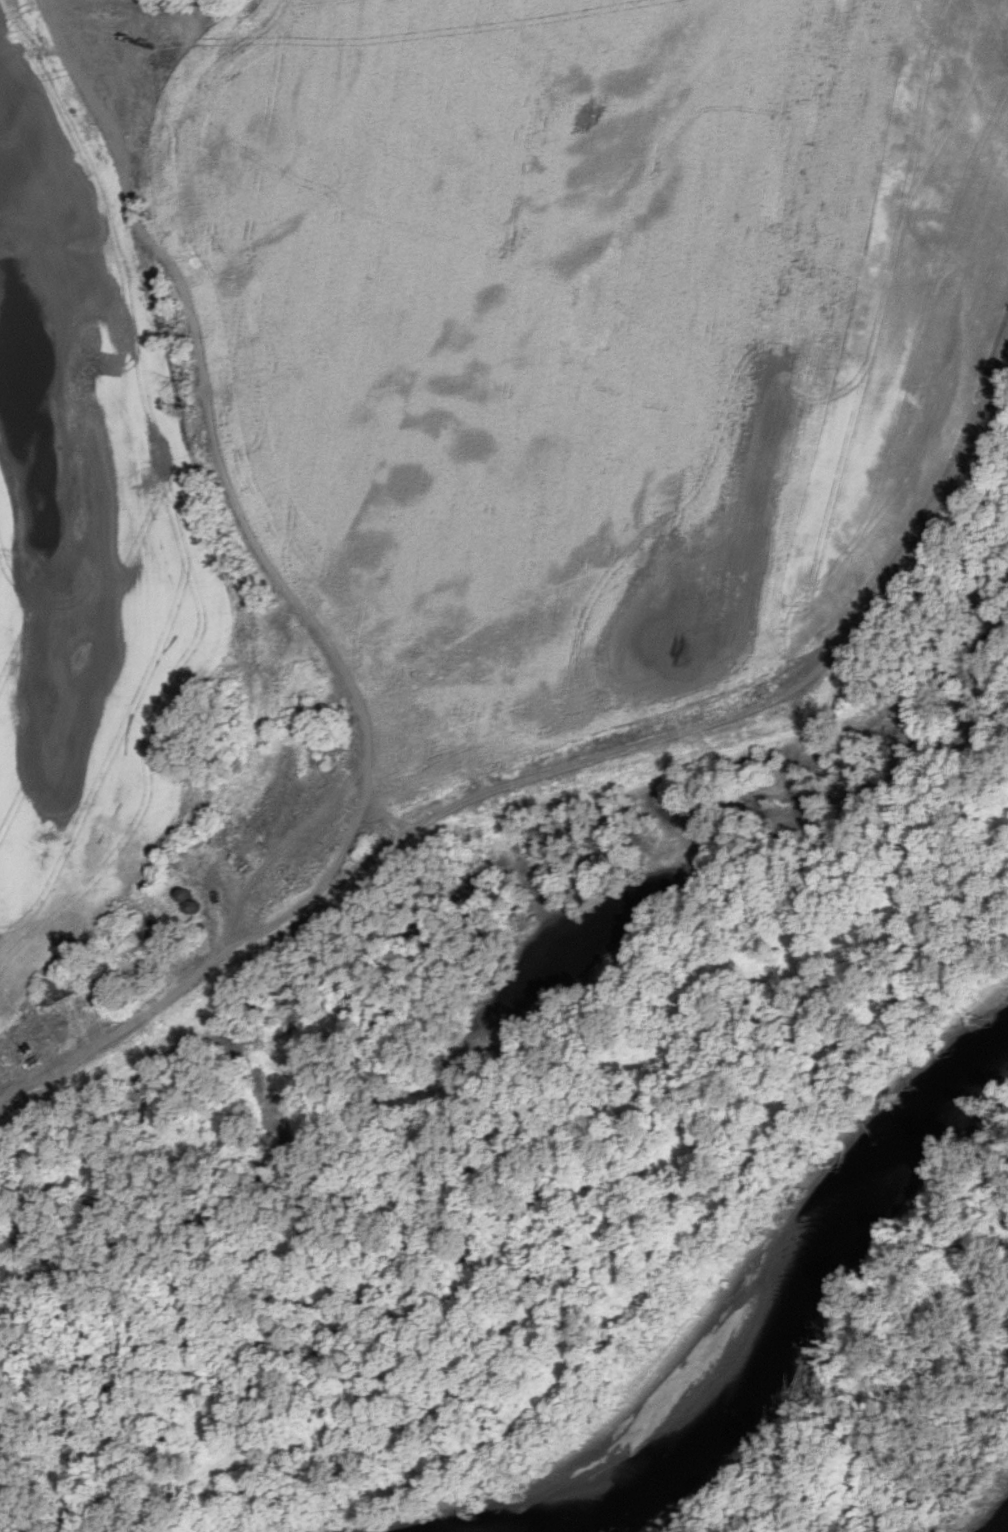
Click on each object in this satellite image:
crop: (438, 408)
road: (216, 453)
road: (745, 713)
road: (160, 1002)

